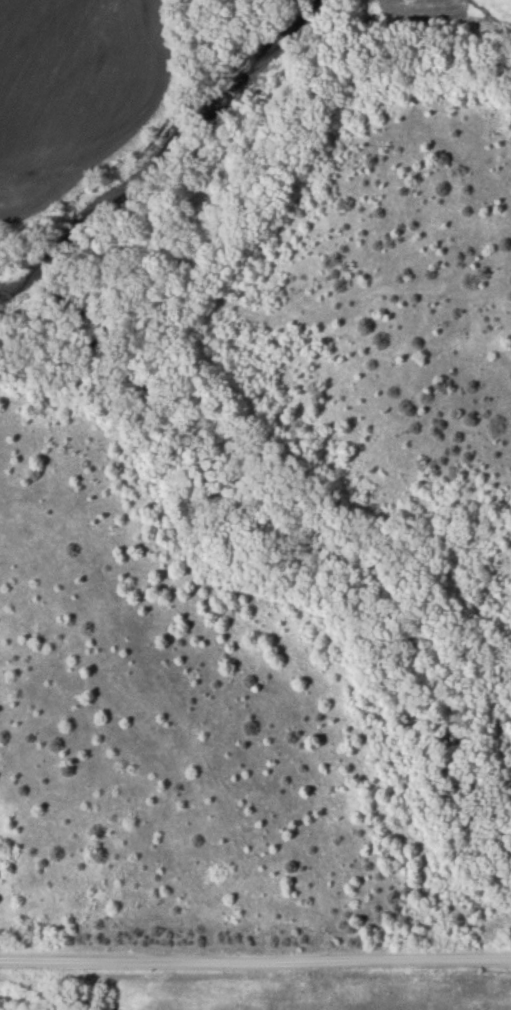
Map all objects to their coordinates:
road: (255, 961)

